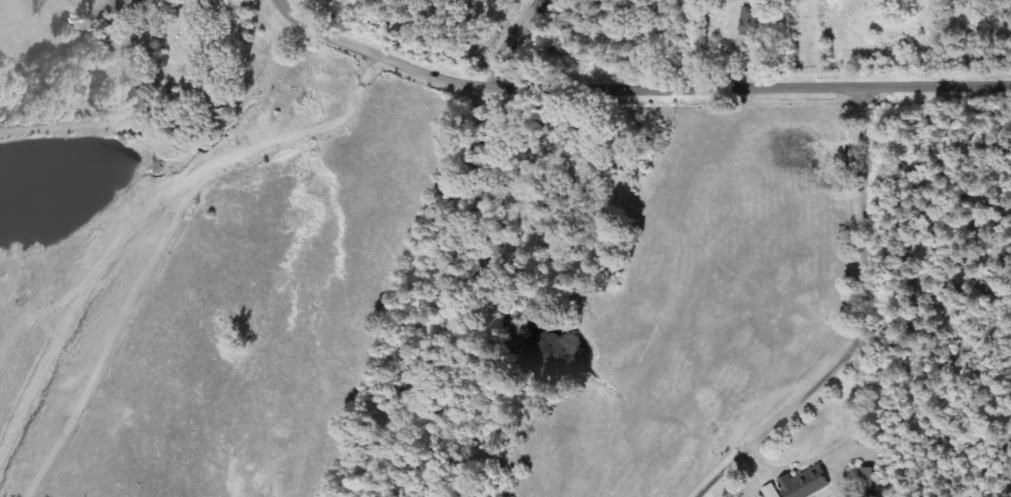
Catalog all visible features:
road: (283, 6)
building: (753, 21)
road: (331, 34)
road: (691, 88)
road: (155, 213)
building: (808, 482)
building: (773, 491)

